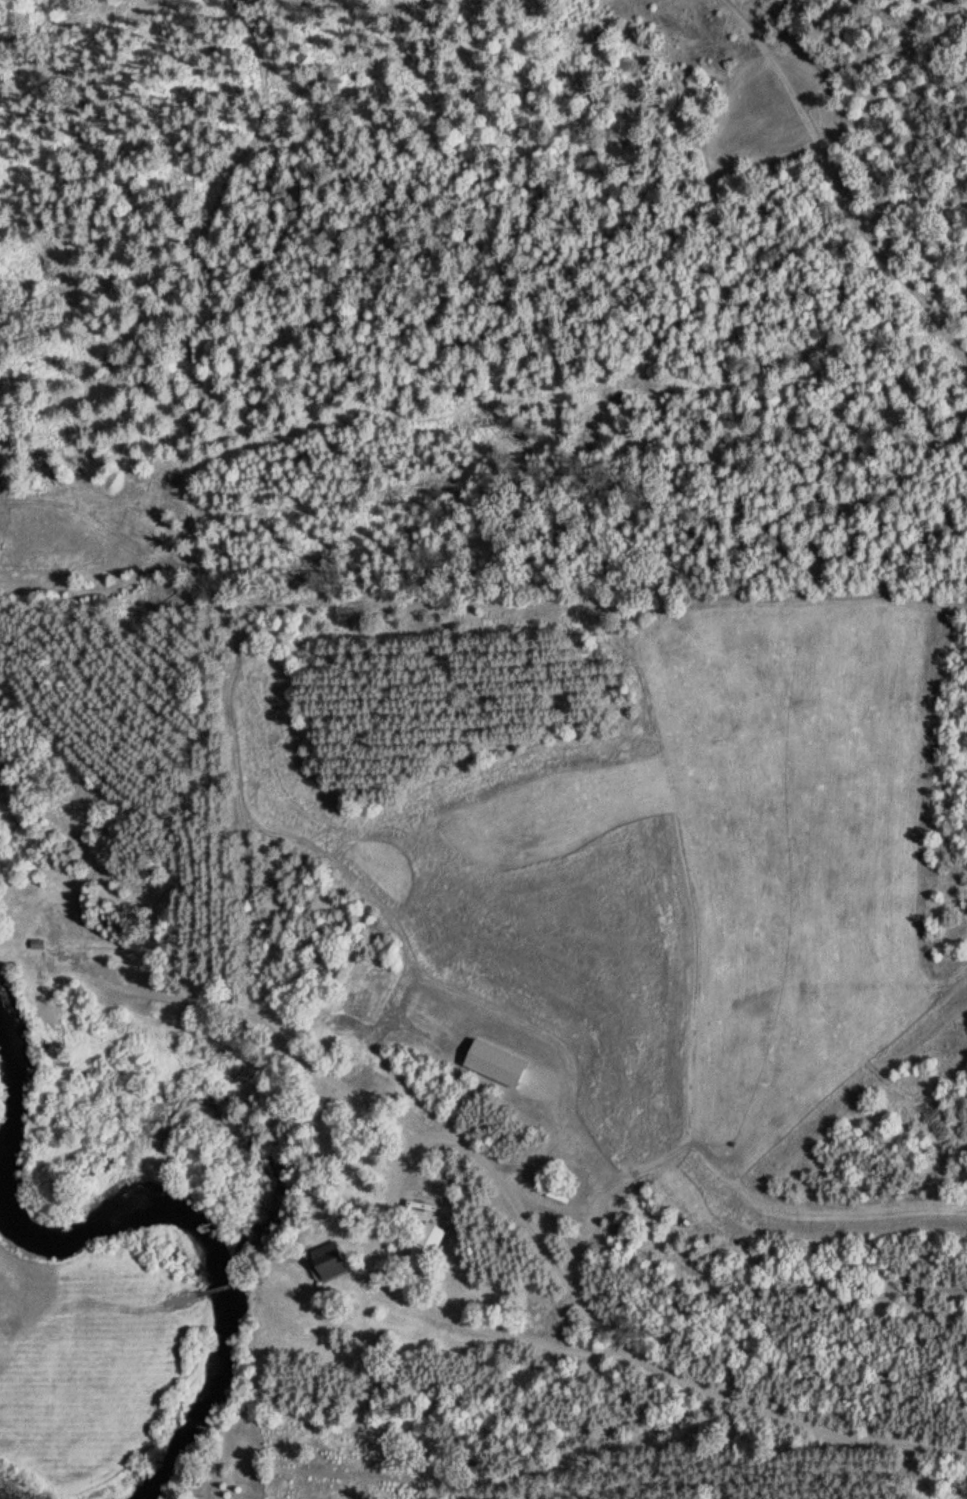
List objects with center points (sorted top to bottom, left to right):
road: (396, 1186)
river: (144, 1214)
building: (424, 1247)
building: (327, 1262)
road: (791, 1418)

